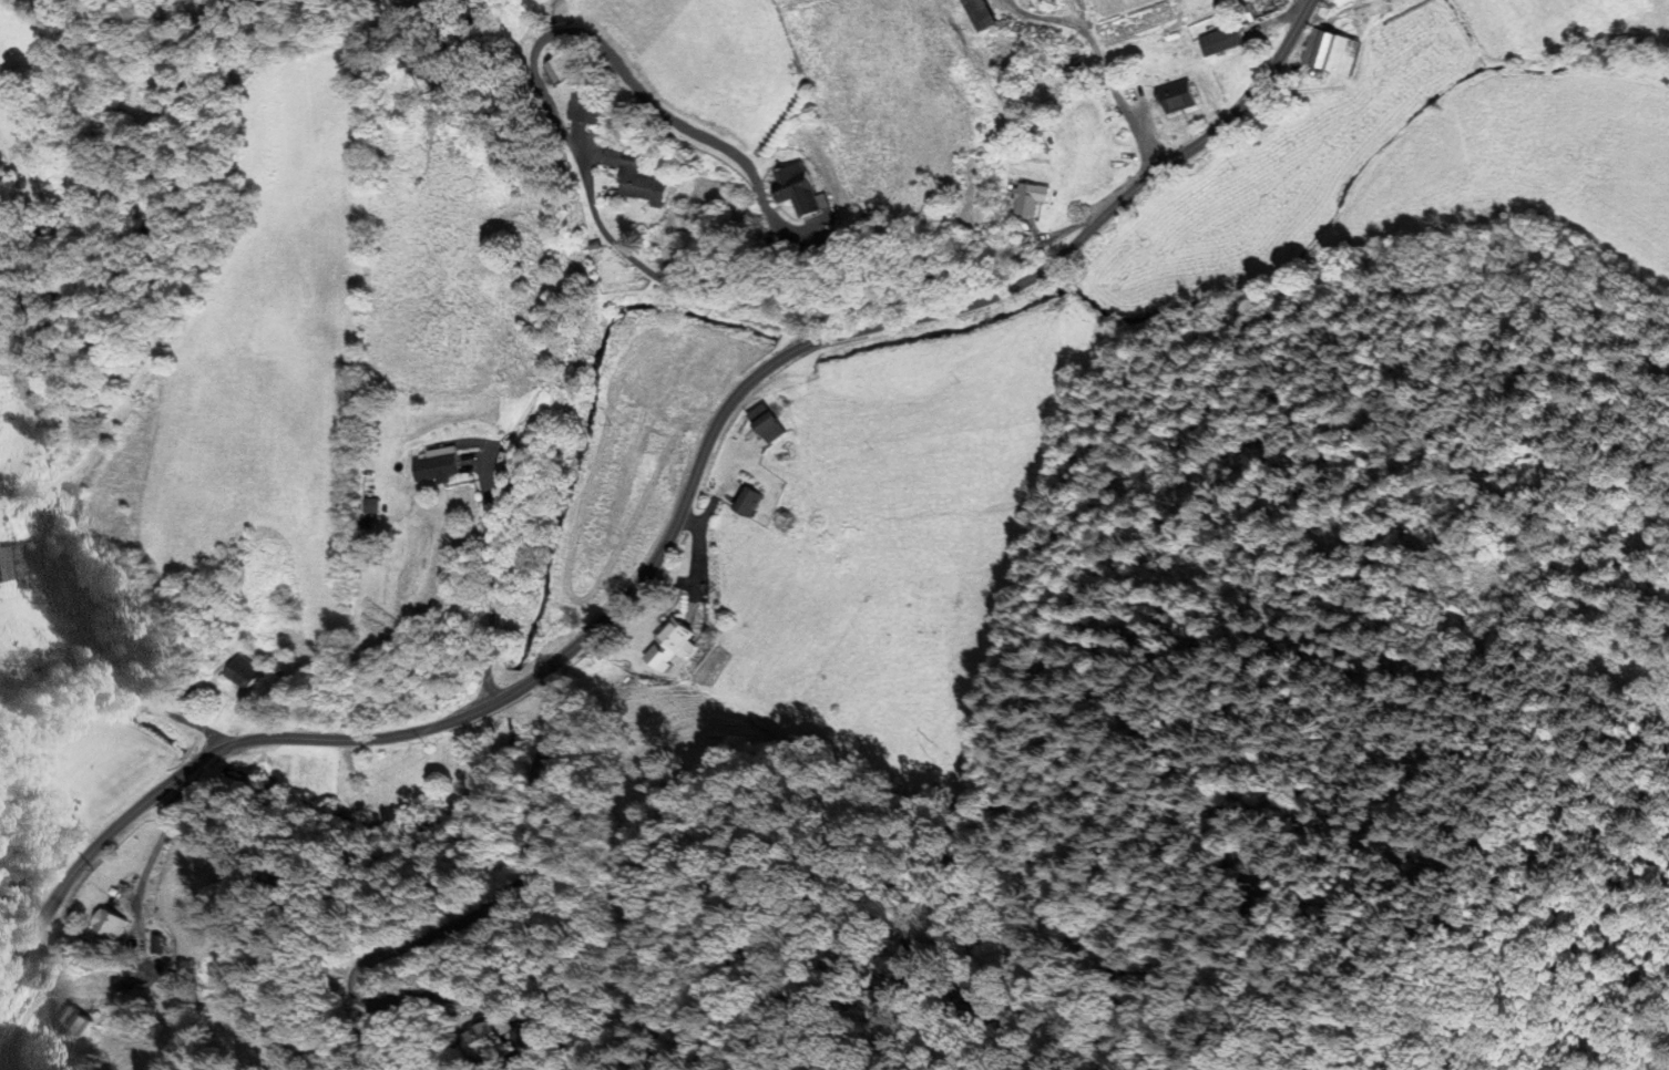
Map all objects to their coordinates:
road: (1305, 4)
building: (1263, 9)
road: (1073, 11)
building: (980, 14)
road: (1041, 17)
building: (1231, 47)
building: (1332, 51)
building: (559, 72)
road: (536, 79)
road: (1117, 99)
building: (585, 104)
building: (612, 157)
building: (635, 179)
building: (789, 189)
building: (1028, 198)
building: (770, 426)
building: (440, 466)
building: (750, 501)
road: (674, 525)
building: (9, 565)
road: (490, 577)
building: (677, 638)
building: (237, 672)
building: (451, 772)
road: (153, 847)
building: (107, 923)
building: (155, 945)
building: (73, 1021)

